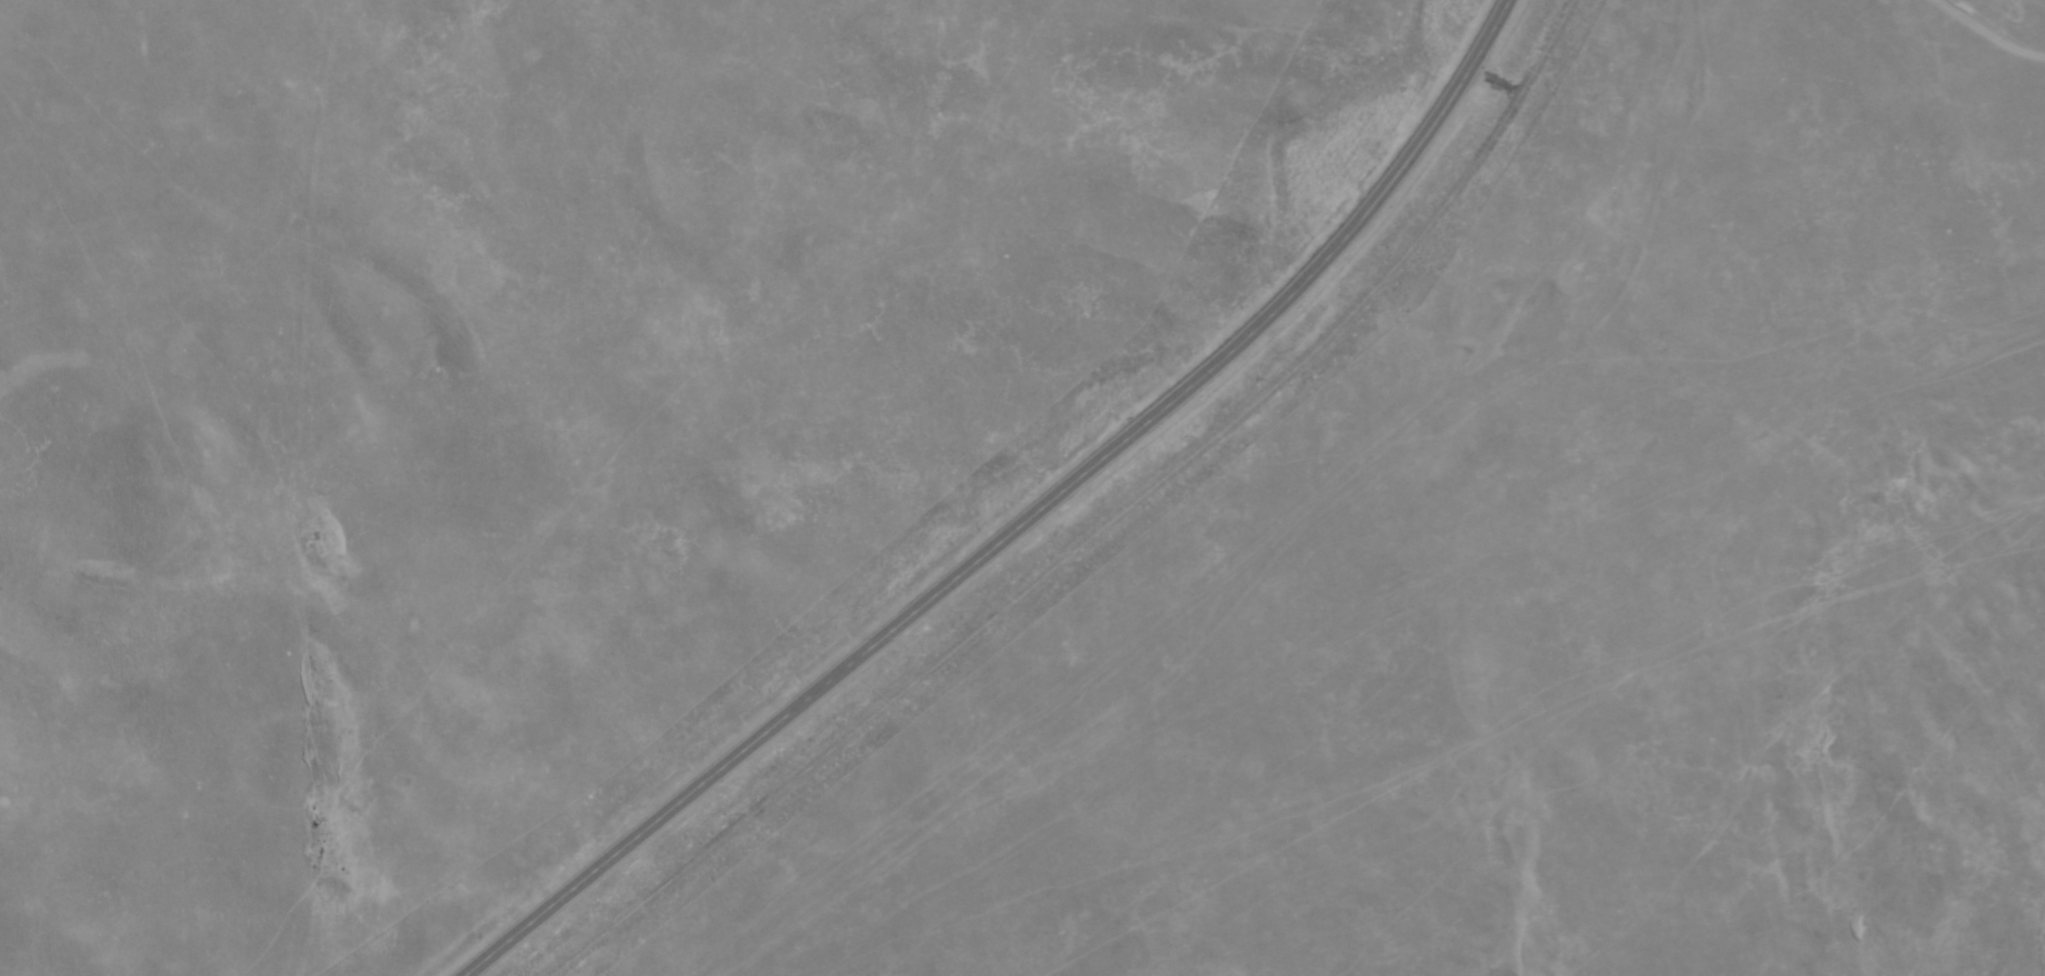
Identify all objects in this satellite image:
road: (1500, 72)
road: (1030, 523)
road: (1104, 525)

